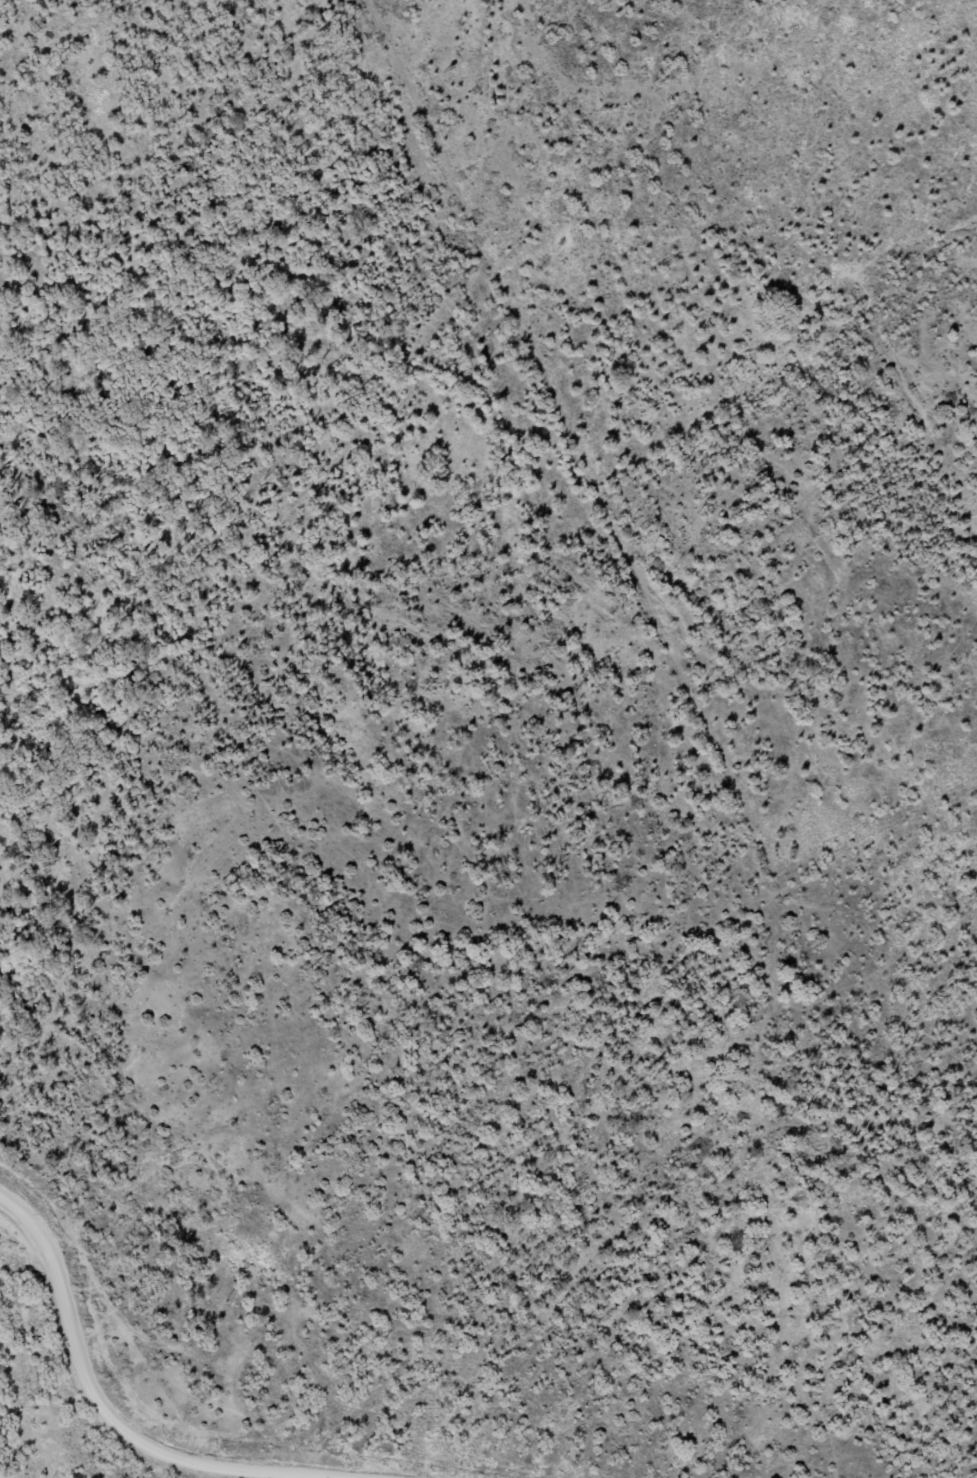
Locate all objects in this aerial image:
road: (54, 1257)
road: (145, 1449)

